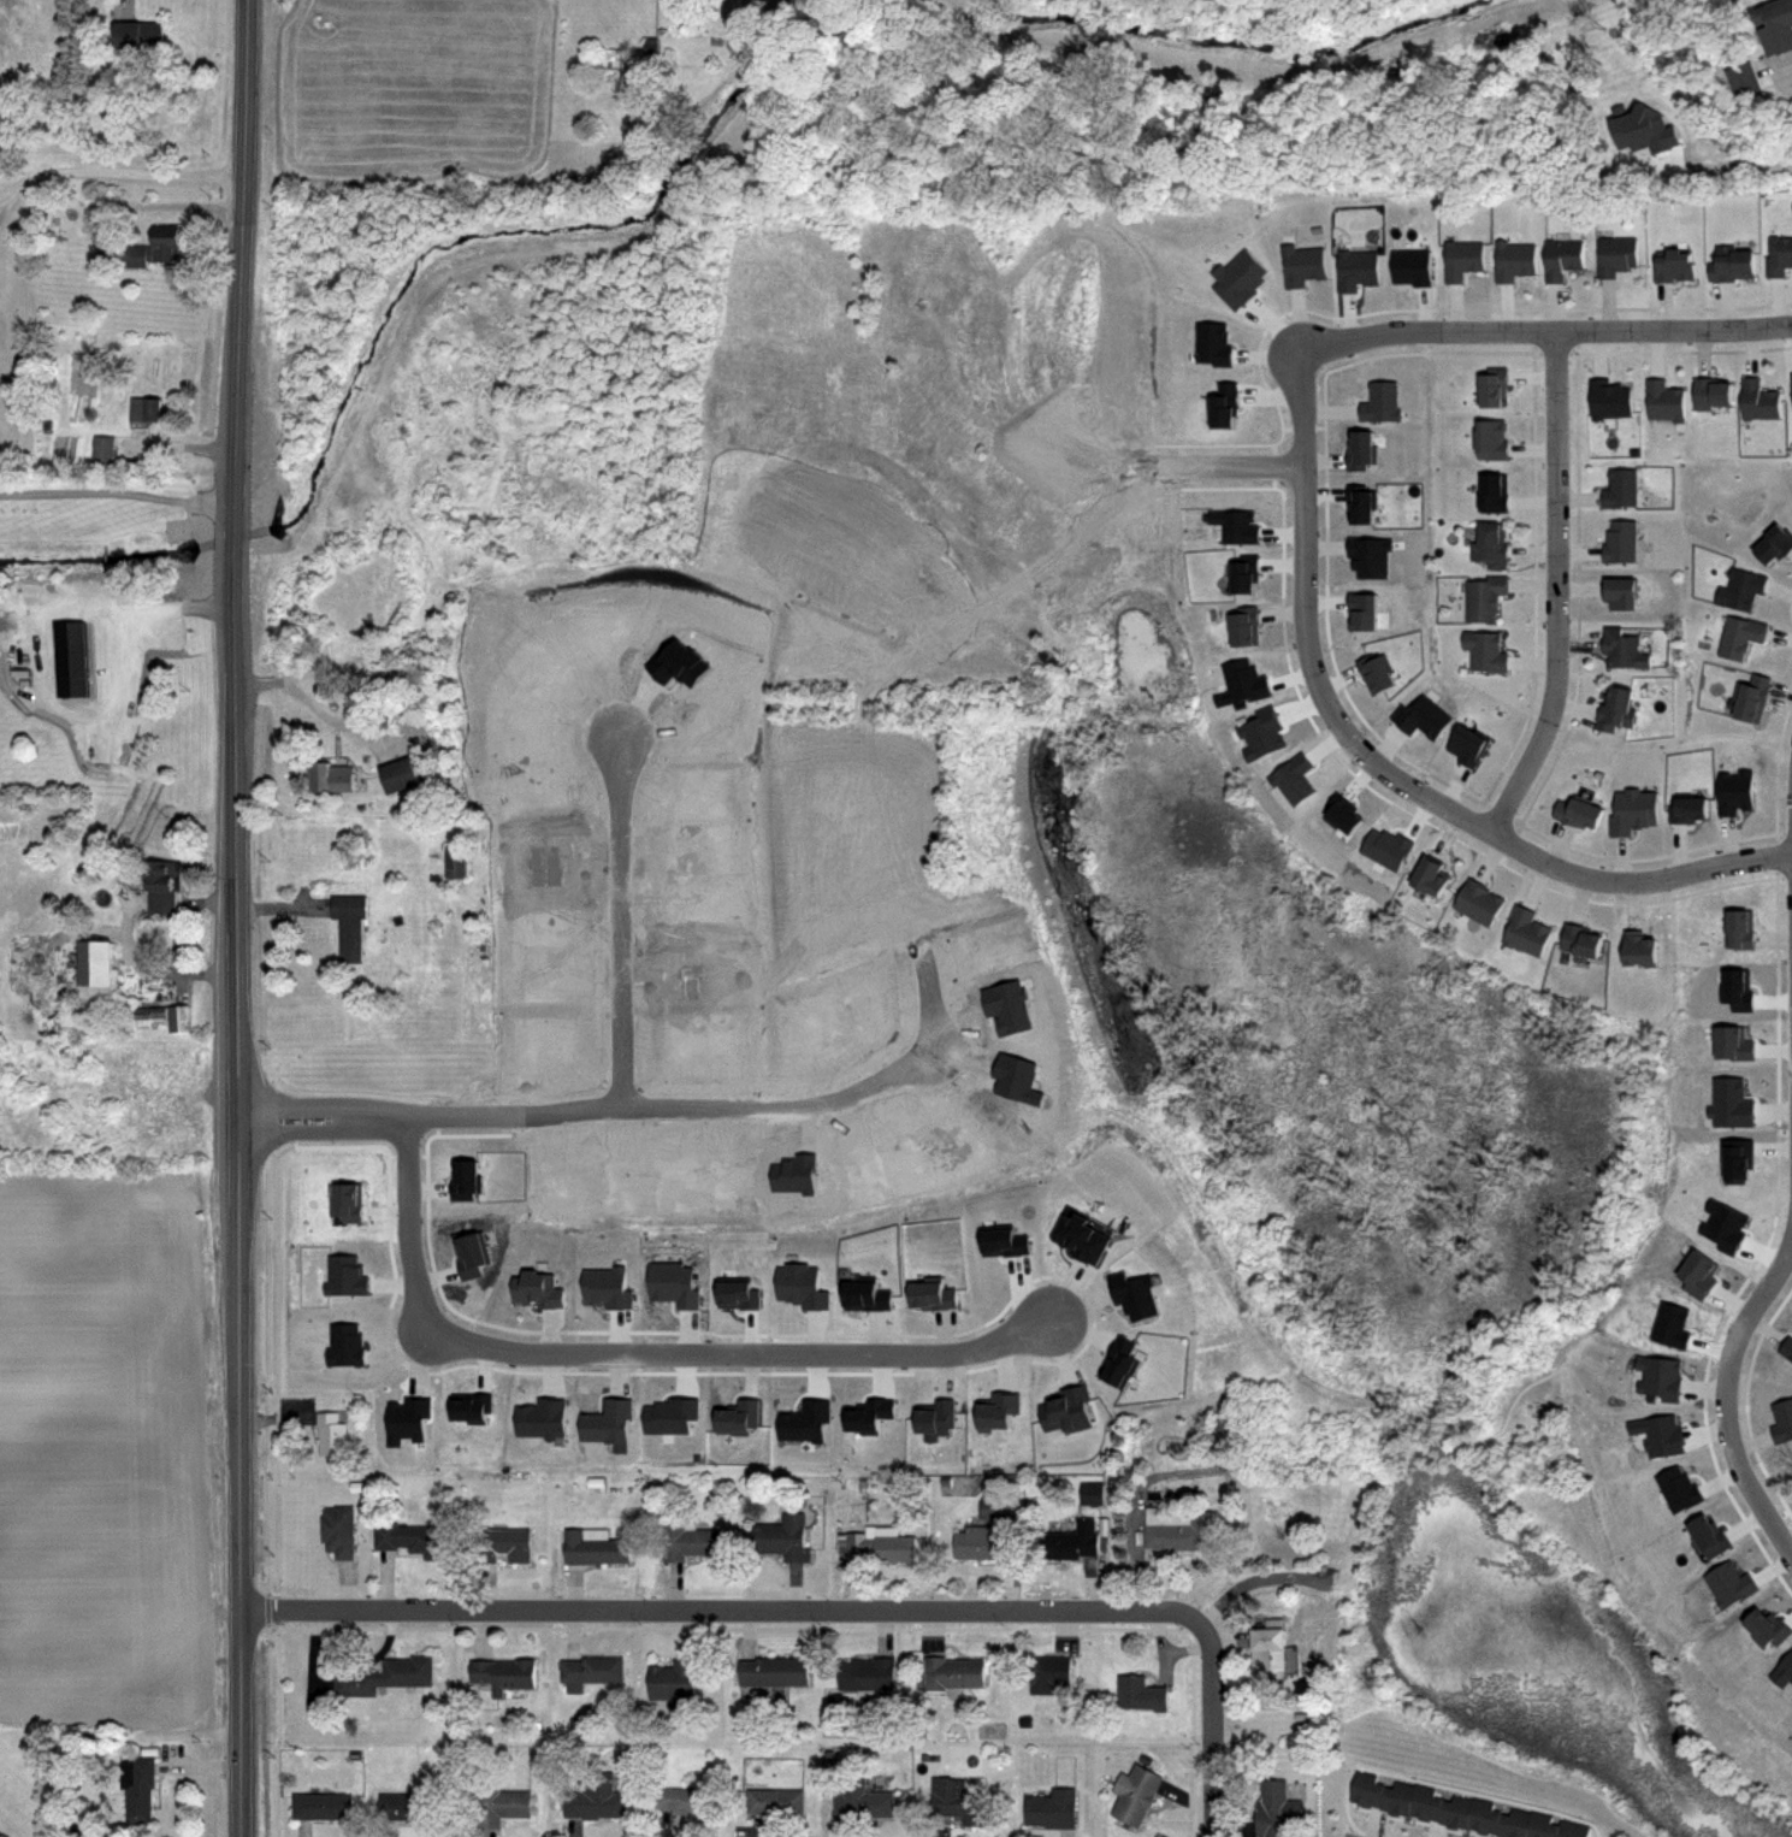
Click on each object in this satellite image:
building: (1775, 26)
building: (138, 34)
road: (1791, 67)
building: (1744, 79)
crop: (416, 89)
road: (1735, 165)
road: (116, 172)
building: (153, 253)
building: (1615, 254)
building: (1778, 255)
building: (1562, 256)
building: (1462, 258)
building: (1513, 259)
building: (1731, 262)
building: (1302, 264)
building: (1673, 264)
building: (1412, 265)
building: (1355, 268)
building: (1240, 278)
road: (1545, 321)
building: (1212, 342)
building: (1492, 385)
building: (1791, 389)
building: (1711, 391)
building: (1608, 398)
building: (1663, 400)
building: (1758, 400)
building: (1380, 401)
building: (1223, 404)
building: (147, 410)
building: (1490, 438)
building: (1361, 449)
building: (105, 453)
road: (1224, 463)
building: (1620, 486)
road: (117, 490)
building: (1492, 492)
building: (1360, 502)
building: (1235, 525)
building: (1620, 541)
building: (1774, 543)
building: (1490, 545)
building: (1371, 557)
building: (1246, 572)
road: (1555, 584)
building: (1740, 589)
building: (1622, 592)
building: (1483, 596)
road: (137, 609)
building: (1362, 609)
building: (1246, 625)
building: (1739, 634)
building: (1624, 648)
building: (1484, 650)
building: (70, 660)
building: (1377, 673)
building: (1243, 683)
building: (1750, 697)
building: (1617, 709)
building: (1425, 719)
building: (1262, 733)
building: (1471, 748)
road: (1376, 764)
building: (401, 776)
building: (332, 778)
building: (1294, 778)
building: (1737, 792)
building: (1691, 810)
building: (1343, 813)
building: (1636, 813)
building: (1583, 814)
building: (1385, 847)
building: (457, 860)
building: (1433, 875)
building: (164, 884)
building: (1480, 902)
road: (237, 917)
road: (620, 921)
building: (351, 923)
building: (1743, 928)
building: (1528, 929)
building: (1584, 939)
building: (1642, 946)
building: (97, 967)
building: (1739, 987)
building: (1007, 1004)
building: (170, 1015)
building: (1734, 1041)
building: (1017, 1077)
building: (1731, 1101)
crop: (102, 1104)
road: (640, 1105)
building: (1737, 1158)
building: (792, 1173)
building: (463, 1179)
building: (345, 1200)
building: (1725, 1224)
building: (1083, 1235)
building: (1003, 1239)
building: (469, 1252)
building: (1698, 1272)
building: (344, 1274)
building: (670, 1282)
building: (607, 1284)
building: (803, 1284)
building: (539, 1288)
building: (735, 1292)
building: (935, 1293)
building: (1137, 1294)
building: (869, 1295)
building: (1669, 1323)
building: (347, 1345)
building: (1786, 1346)
road: (640, 1349)
building: (1124, 1363)
building: (1657, 1376)
road: (1722, 1398)
building: (472, 1405)
building: (995, 1410)
building: (1069, 1410)
building: (670, 1414)
building: (738, 1414)
building: (868, 1414)
building: (934, 1417)
building: (406, 1418)
building: (544, 1418)
building: (1781, 1418)
building: (804, 1419)
building: (607, 1423)
building: (1657, 1433)
building: (333, 1434)
building: (1229, 1435)
crop: (106, 1447)
building: (1676, 1488)
building: (1094, 1494)
building: (993, 1505)
building: (1179, 1529)
building: (341, 1531)
building: (1707, 1535)
building: (779, 1536)
building: (416, 1538)
building: (693, 1541)
building: (981, 1542)
building: (1067, 1542)
building: (882, 1543)
building: (505, 1546)
building: (597, 1546)
building: (1729, 1582)
road: (720, 1608)
building: (1767, 1628)
building: (1271, 1648)
building: (1784, 1670)
building: (595, 1671)
building: (776, 1671)
building: (956, 1672)
building: (1051, 1672)
building: (505, 1673)
building: (870, 1674)
building: (389, 1676)
building: (678, 1681)
building: (1141, 1693)
road: (1214, 1726)
building: (141, 1786)
building: (1370, 1790)
building: (1136, 1794)
building: (1401, 1797)
building: (599, 1798)
building: (864, 1800)
building: (687, 1801)
building: (780, 1801)
building: (959, 1801)
building: (501, 1803)
building: (1427, 1803)
building: (323, 1806)
building: (410, 1806)
building: (1277, 1808)
building: (1055, 1809)
building: (1457, 1811)
building: (1486, 1818)
building: (1519, 1824)
building: (1546, 1826)
building: (1577, 1830)

